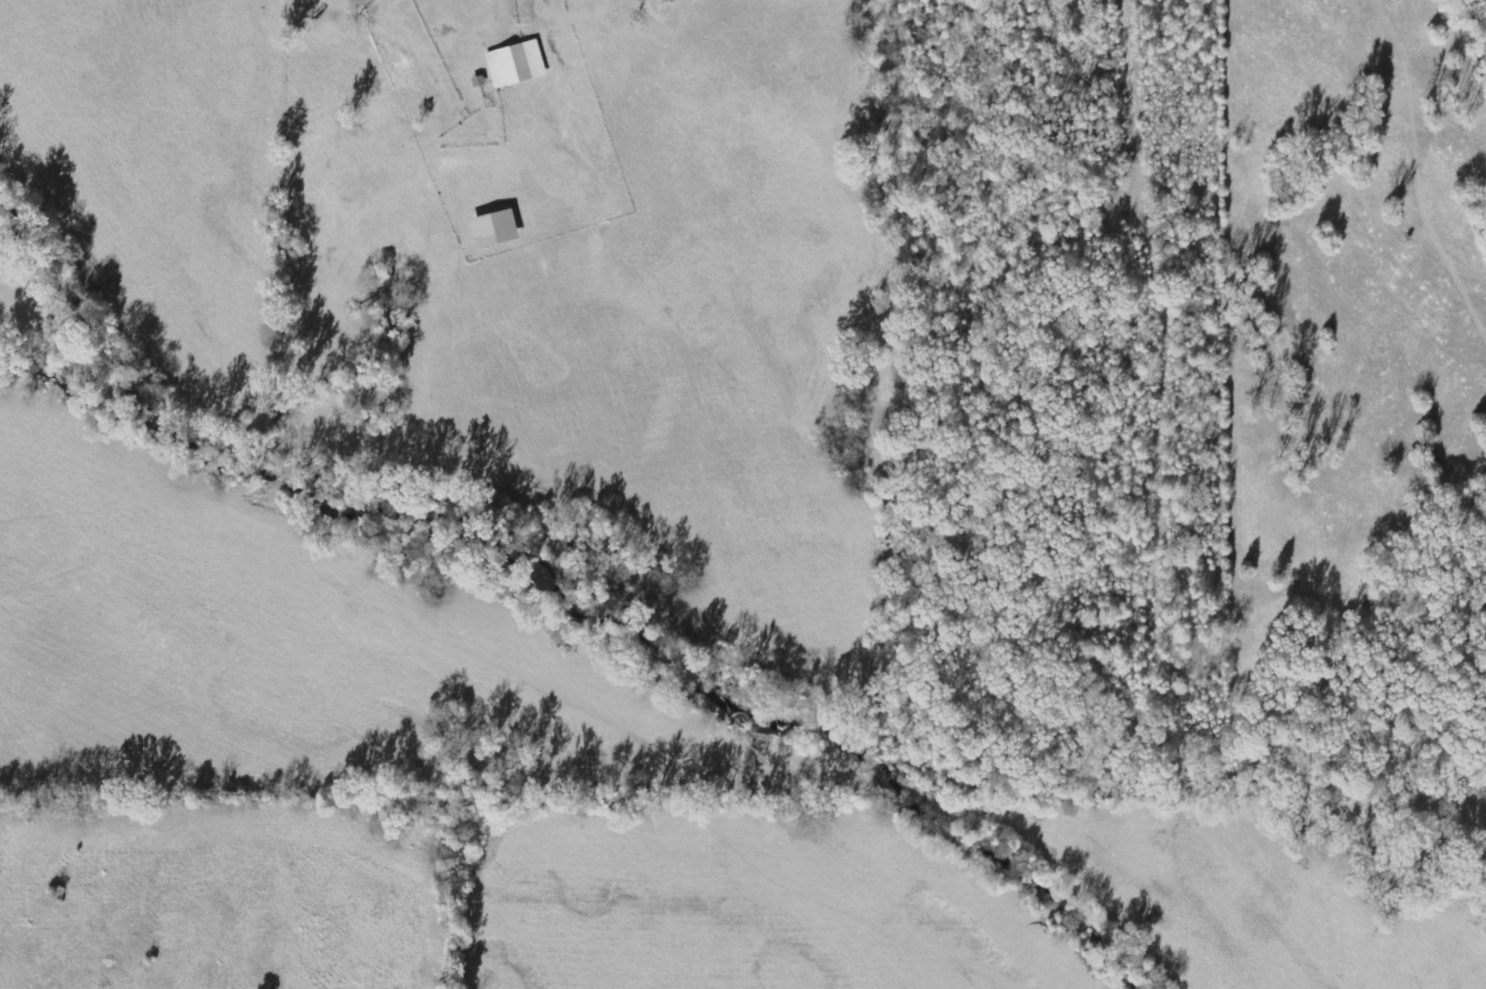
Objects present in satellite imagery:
building: (518, 65)
building: (481, 82)
building: (500, 229)

